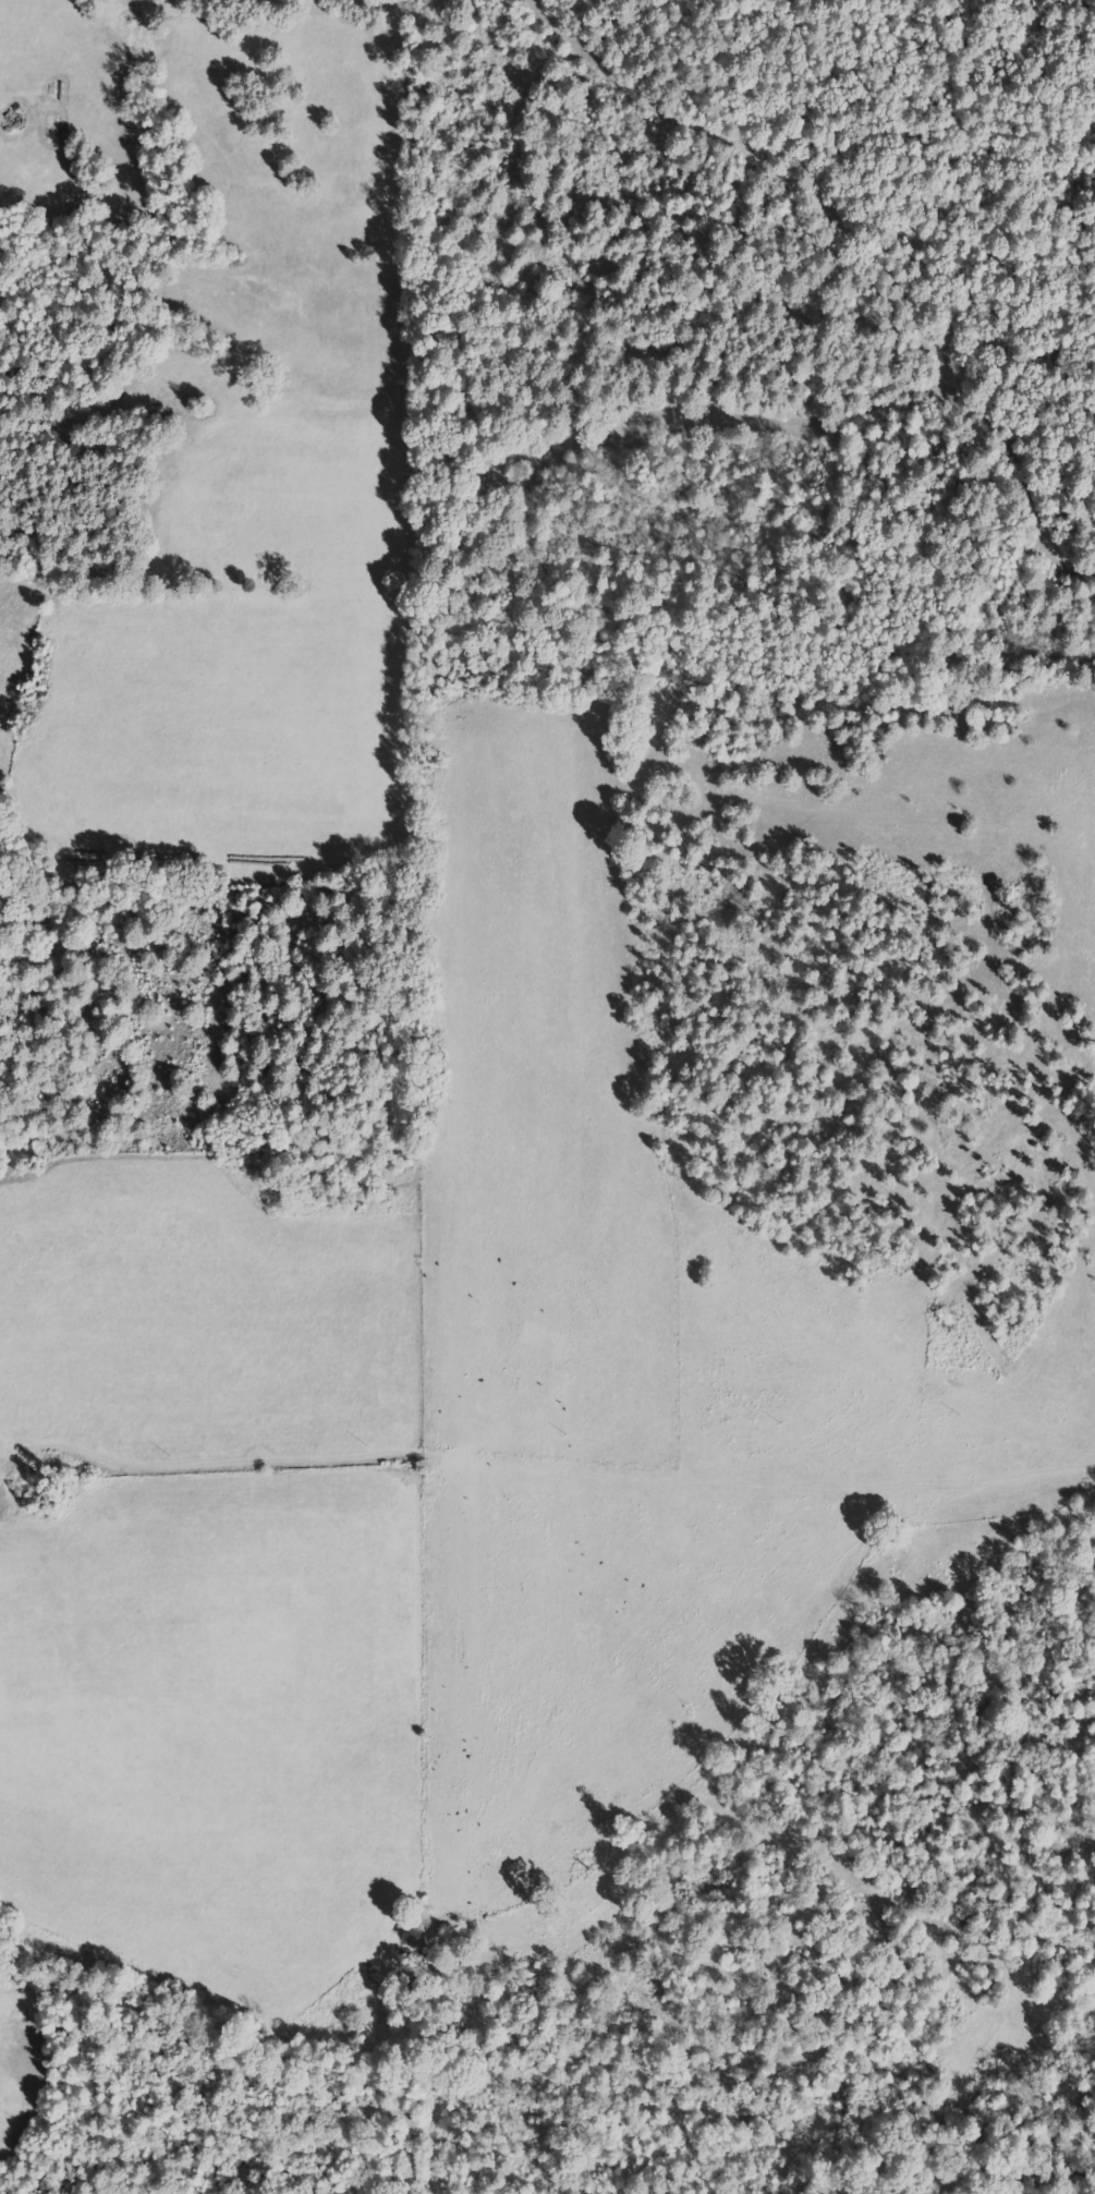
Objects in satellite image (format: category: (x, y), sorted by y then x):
road: (880, 276)
road: (445, 982)

